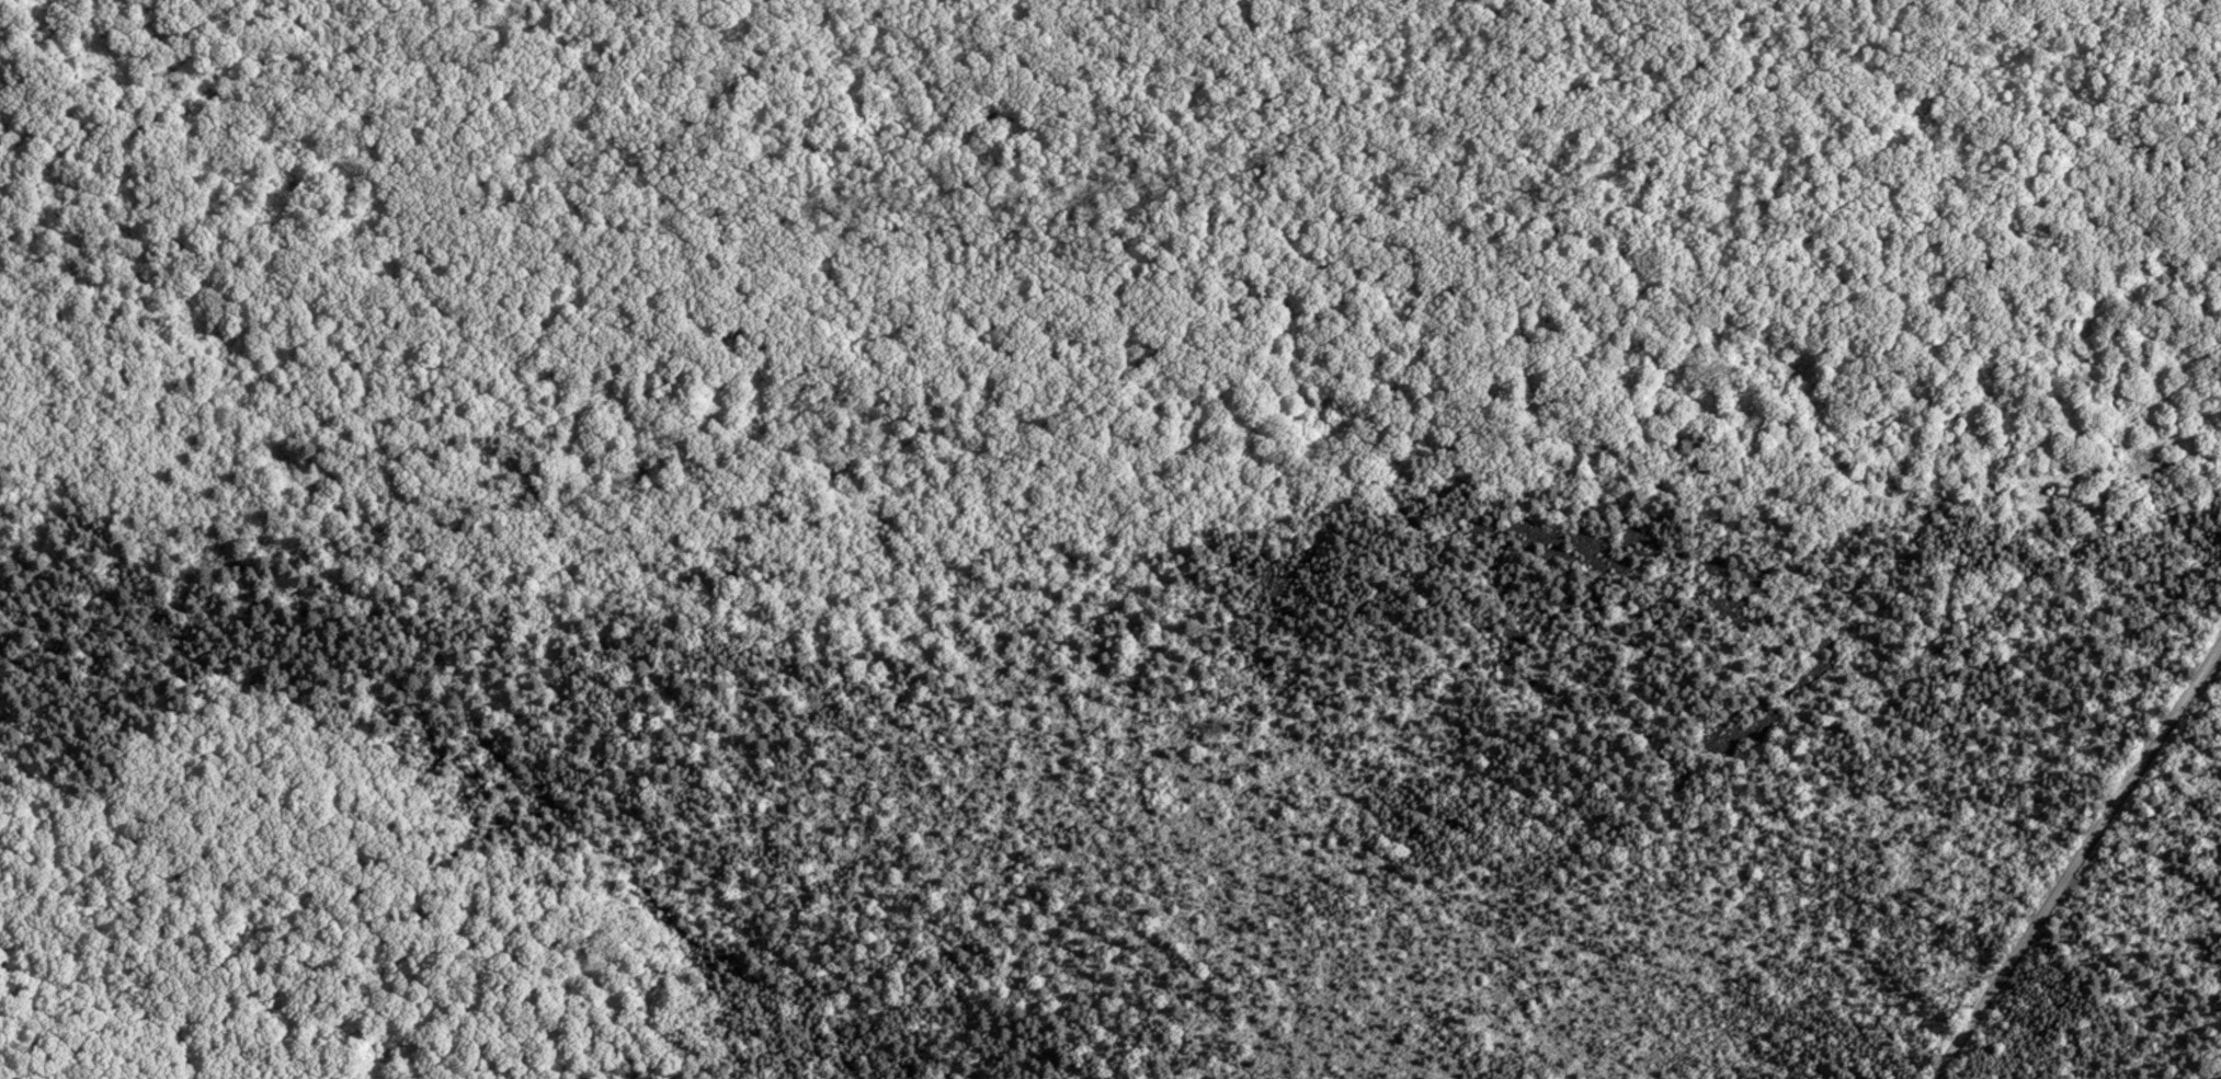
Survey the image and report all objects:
road: (2077, 861)

